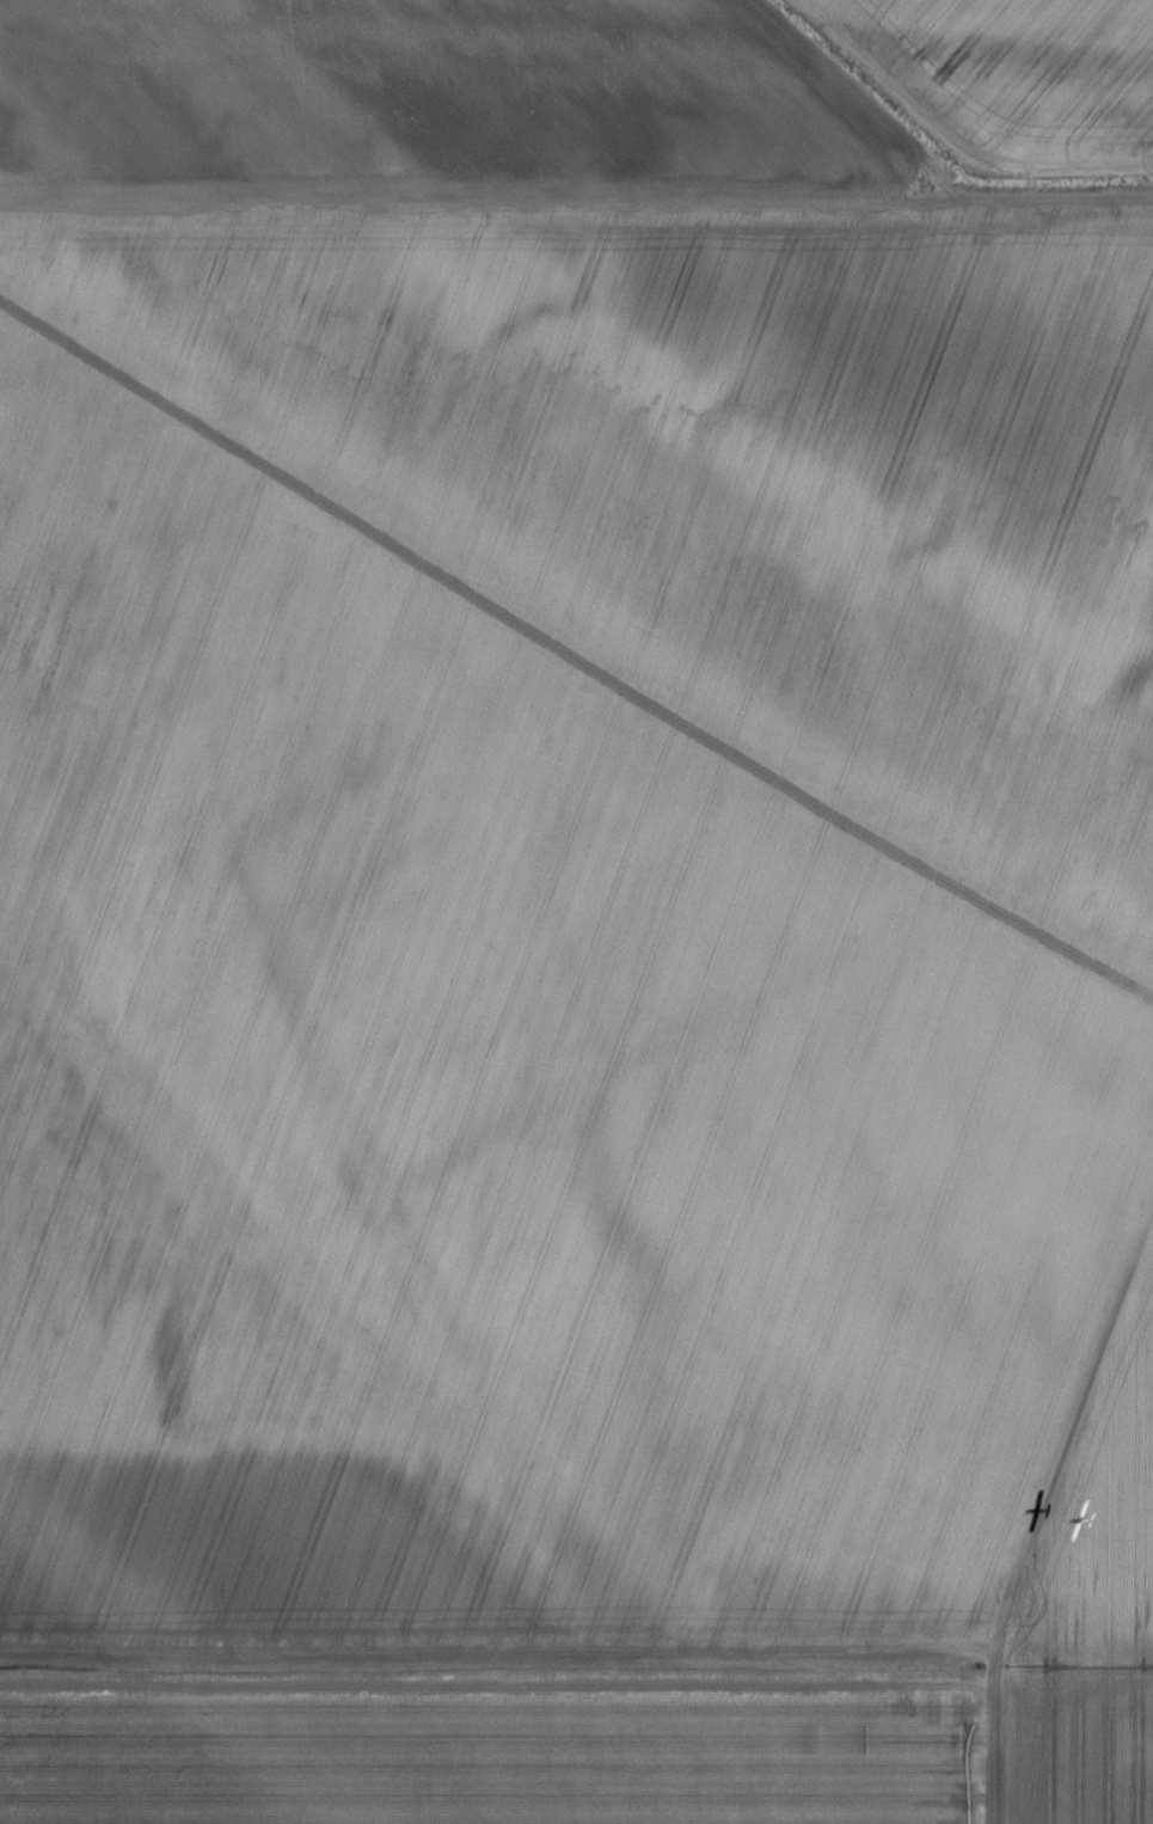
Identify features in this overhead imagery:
road: (179, 1249)

